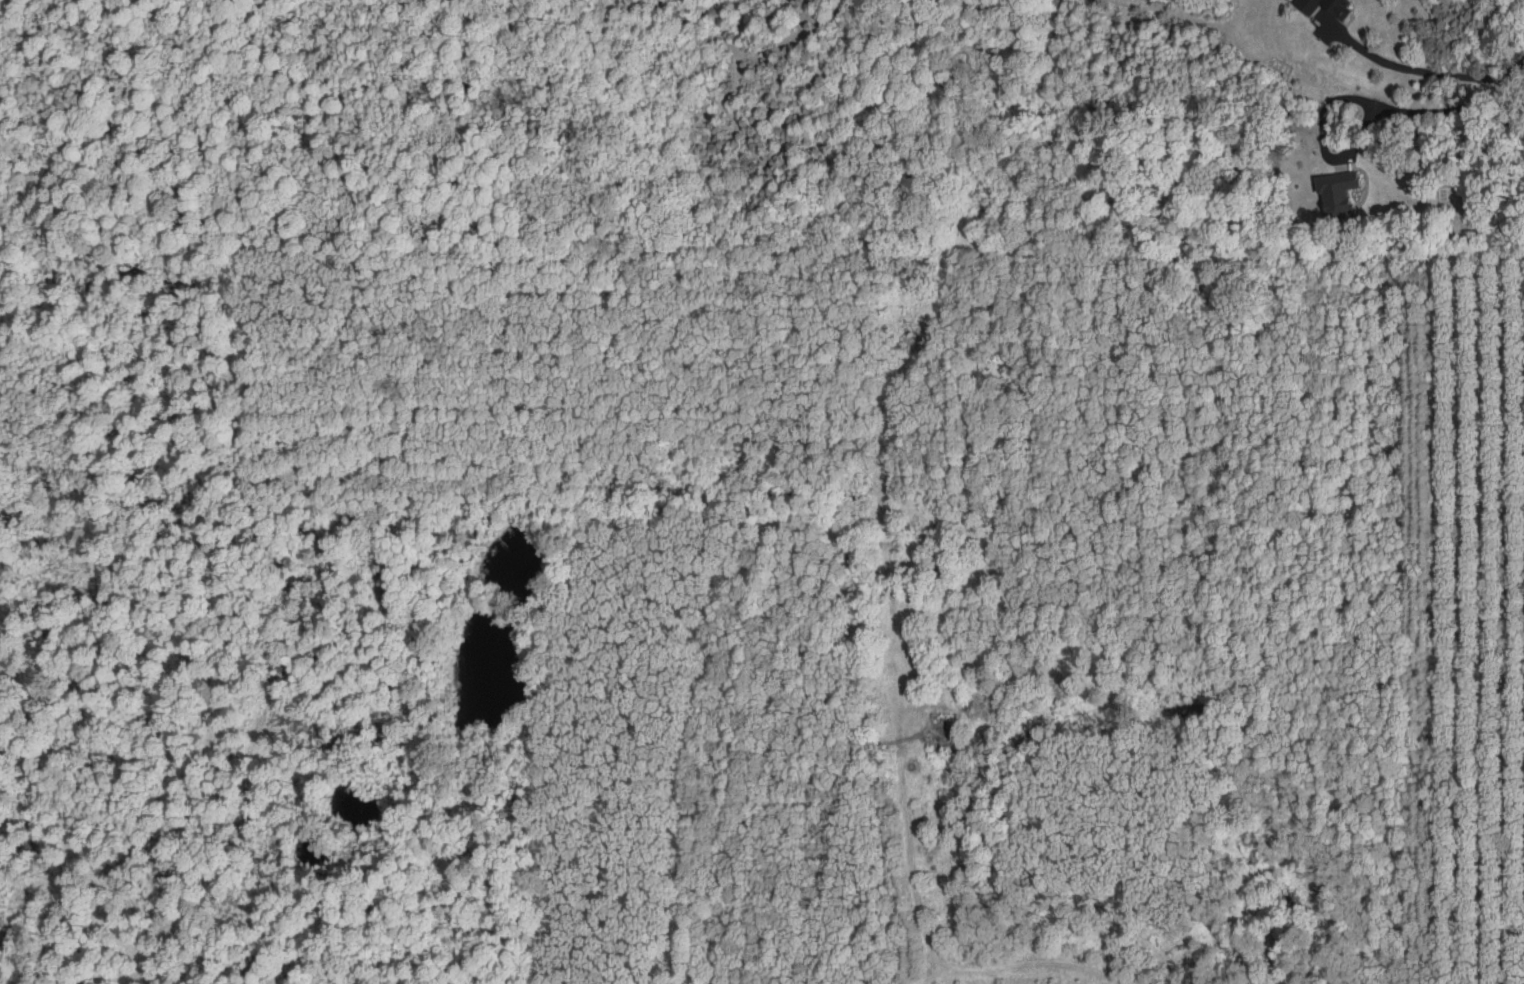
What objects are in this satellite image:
building: (1326, 6)
road: (1422, 69)
road: (1402, 110)
building: (1337, 193)

